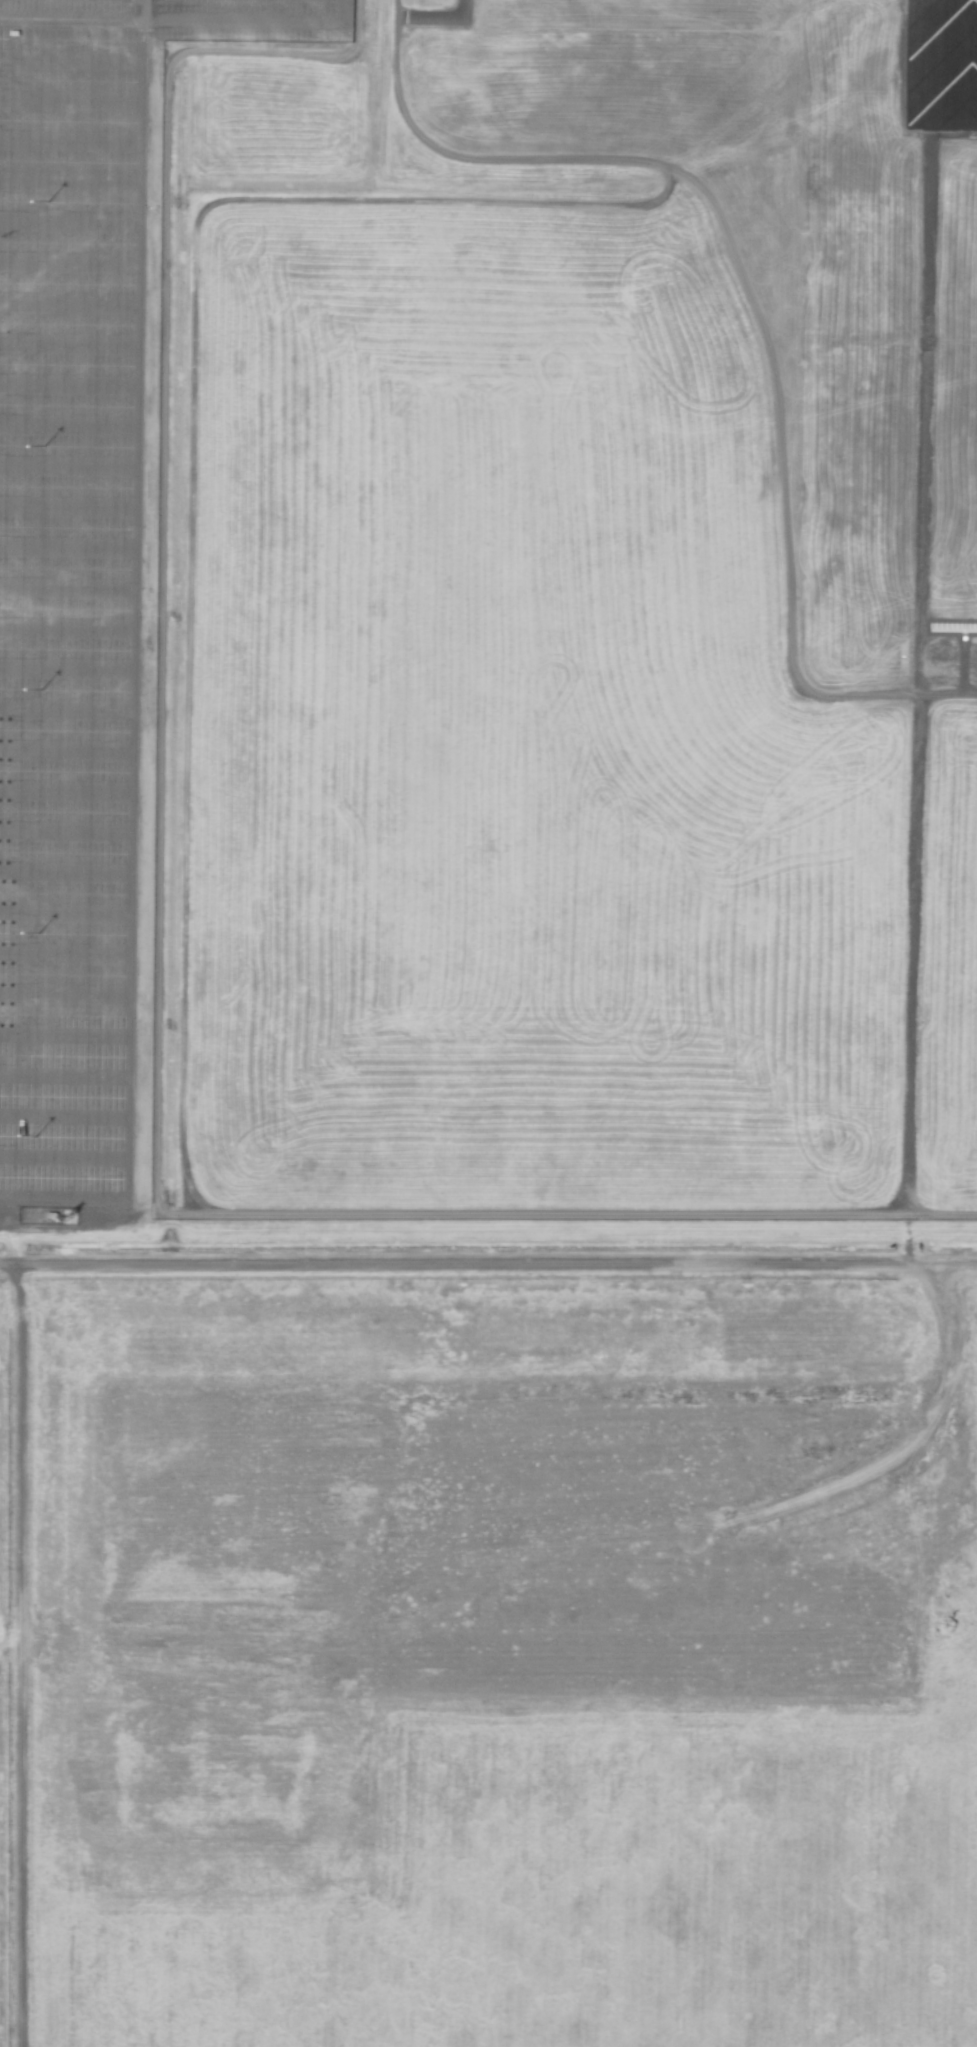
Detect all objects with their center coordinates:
road: (139, 11)
road: (344, 12)
road: (69, 21)
road: (241, 23)
road: (69, 60)
road: (69, 100)
road: (69, 140)
road: (68, 180)
road: (68, 222)
road: (68, 264)
road: (68, 300)
road: (68, 344)
road: (67, 386)
road: (67, 427)
road: (67, 464)
road: (67, 503)
road: (67, 549)
parking lot: (78, 563)
road: (66, 591)
road: (66, 630)
road: (66, 669)
road: (132, 674)
road: (66, 706)
road: (65, 748)
road: (65, 791)
road: (65, 829)
road: (65, 871)
road: (65, 909)
road: (910, 949)
road: (64, 952)
road: (64, 994)
airport: (488, 1023)
road: (64, 1033)
road: (64, 1075)
road: (63, 1119)
road: (63, 1158)
railway: (488, 1230)
road: (488, 1266)

